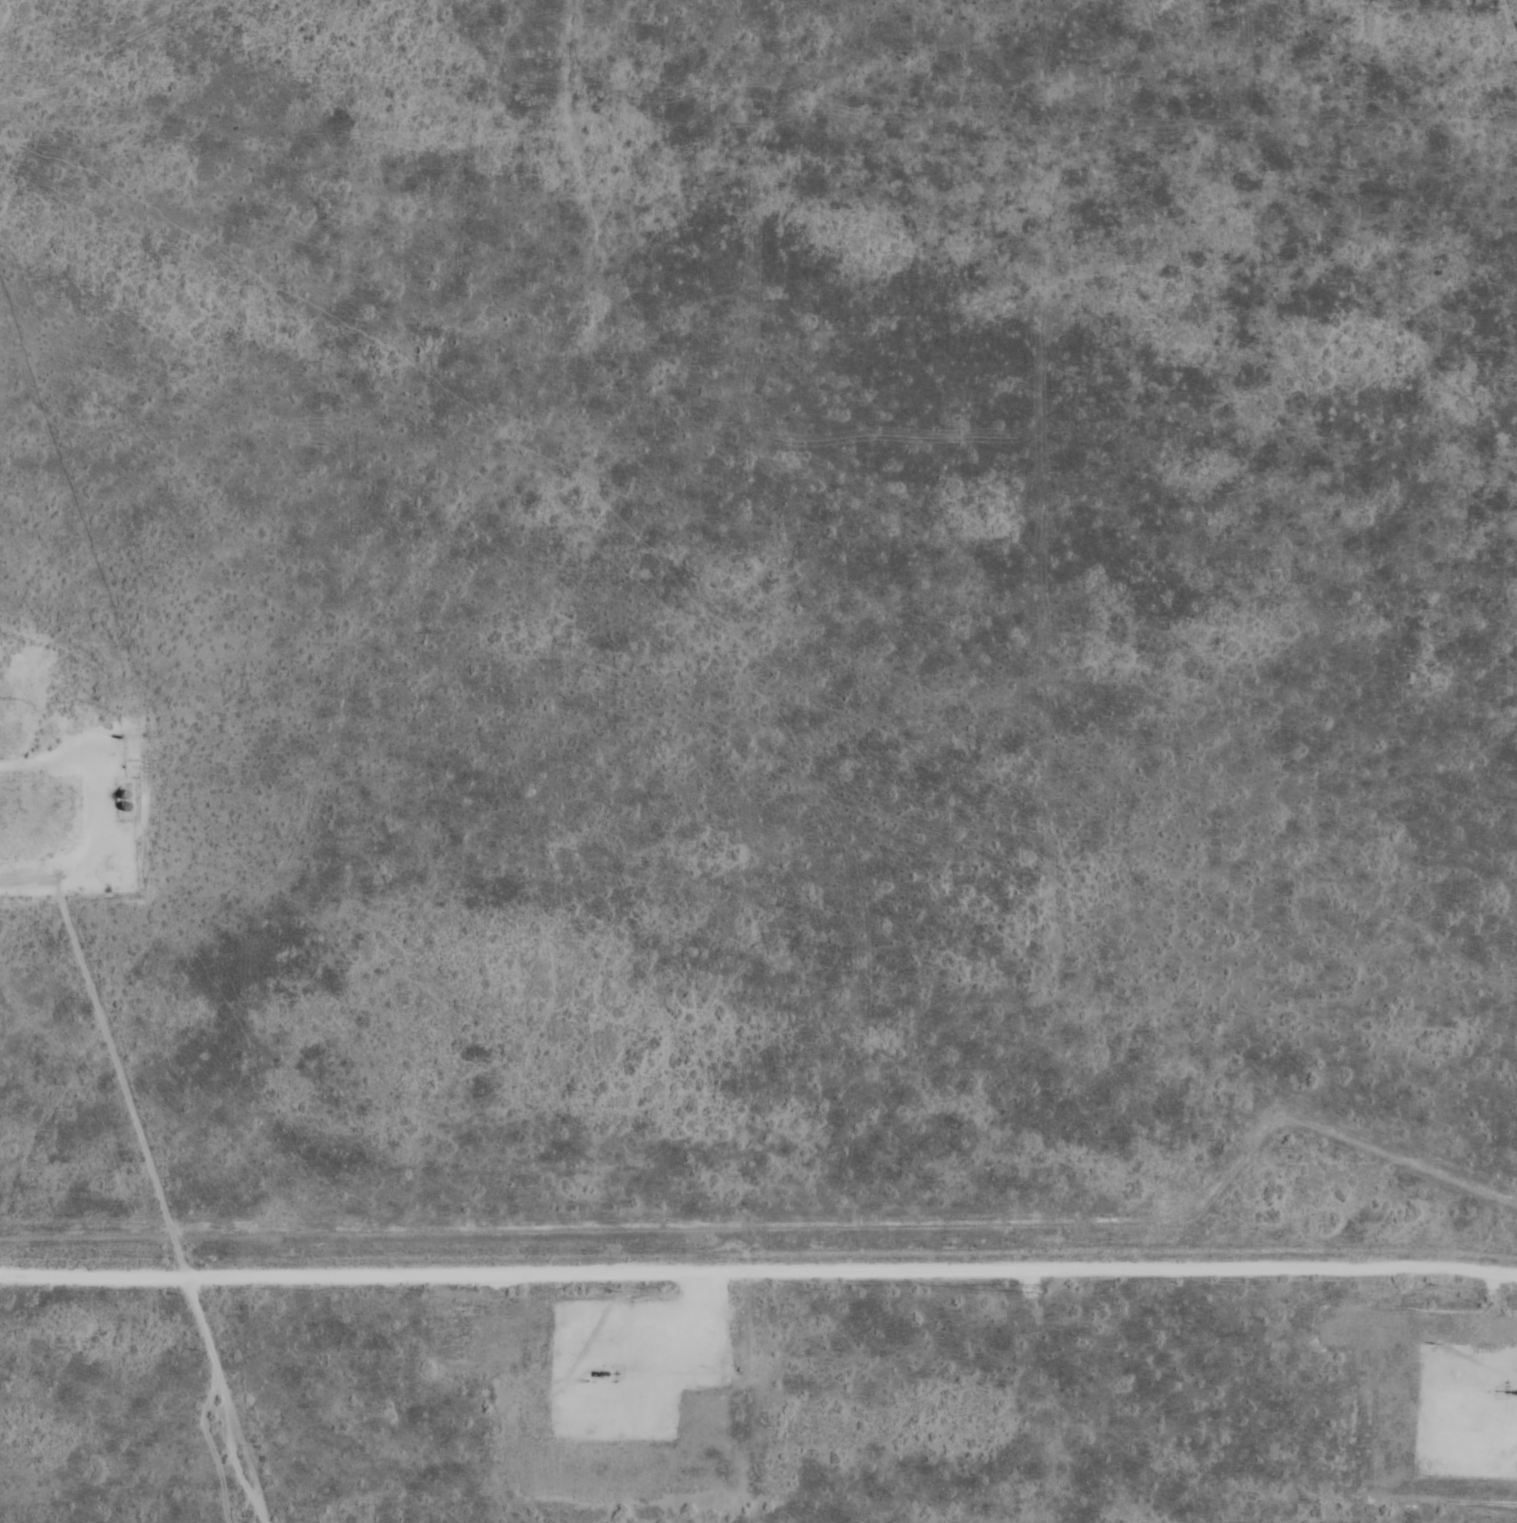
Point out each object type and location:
petroleum well: (119, 795)
road: (99, 819)
road: (758, 1270)
road: (656, 1343)

